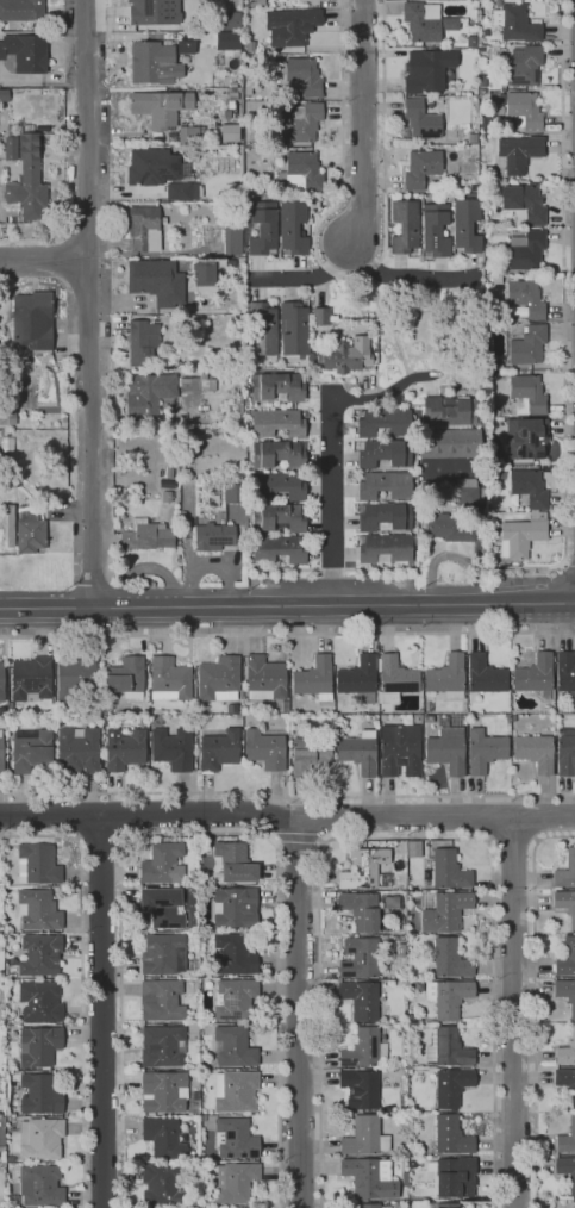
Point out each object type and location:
building: (236, 1)
building: (257, 2)
building: (21, 10)
building: (151, 12)
building: (230, 20)
building: (421, 20)
building: (448, 23)
building: (517, 23)
building: (298, 26)
building: (471, 41)
building: (186, 42)
building: (229, 42)
building: (25, 51)
building: (152, 60)
building: (204, 62)
building: (523, 66)
building: (432, 71)
building: (305, 75)
building: (482, 82)
building: (248, 87)
building: (474, 91)
building: (4, 95)
building: (232, 95)
building: (231, 105)
building: (161, 106)
building: (524, 111)
building: (227, 113)
building: (300, 119)
building: (420, 120)
building: (1, 125)
road: (361, 126)
building: (227, 132)
building: (190, 135)
building: (473, 137)
building: (183, 150)
building: (519, 151)
road: (568, 163)
building: (140, 167)
building: (421, 168)
building: (301, 172)
building: (25, 178)
building: (535, 181)
building: (181, 187)
building: (524, 203)
road: (569, 210)
building: (465, 224)
building: (405, 226)
building: (144, 228)
building: (262, 228)
building: (292, 228)
building: (433, 228)
building: (232, 238)
building: (526, 250)
road: (45, 260)
building: (229, 261)
building: (205, 273)
road: (343, 276)
road: (305, 278)
building: (155, 279)
road: (408, 279)
building: (526, 297)
road: (90, 303)
building: (320, 316)
building: (32, 320)
road: (563, 322)
building: (264, 326)
building: (295, 328)
building: (142, 341)
building: (527, 344)
building: (344, 354)
road: (569, 360)
building: (494, 367)
building: (493, 375)
building: (196, 384)
building: (279, 386)
building: (442, 388)
building: (148, 392)
building: (32, 393)
building: (481, 394)
building: (527, 394)
building: (238, 404)
road: (569, 410)
building: (449, 412)
building: (7, 417)
building: (500, 419)
building: (276, 422)
building: (382, 422)
building: (4, 432)
building: (526, 440)
building: (449, 443)
building: (5, 444)
building: (274, 453)
building: (383, 453)
building: (494, 474)
building: (167, 484)
building: (383, 484)
building: (279, 485)
building: (527, 486)
building: (233, 492)
building: (465, 493)
building: (167, 496)
road: (332, 499)
building: (187, 500)
building: (383, 515)
building: (279, 517)
building: (229, 518)
building: (182, 523)
building: (448, 527)
building: (26, 530)
building: (146, 535)
building: (213, 536)
building: (519, 537)
building: (386, 547)
building: (279, 548)
road: (568, 562)
road: (373, 568)
road: (283, 569)
road: (325, 569)
road: (562, 598)
road: (505, 600)
road: (230, 605)
road: (287, 634)
building: (565, 673)
building: (486, 674)
building: (535, 675)
building: (31, 677)
building: (123, 677)
building: (446, 677)
building: (218, 678)
building: (263, 678)
building: (314, 678)
building: (358, 678)
building: (76, 679)
building: (168, 679)
building: (395, 679)
building: (0, 680)
building: (382, 716)
building: (513, 717)
building: (429, 718)
building: (471, 718)
building: (123, 747)
building: (171, 747)
building: (76, 749)
building: (218, 749)
building: (264, 749)
building: (400, 749)
building: (446, 749)
building: (485, 749)
building: (30, 751)
building: (535, 751)
building: (565, 752)
building: (358, 753)
building: (310, 754)
building: (0, 758)
road: (287, 797)
road: (287, 817)
road: (318, 818)
road: (512, 836)
road: (404, 837)
building: (233, 860)
building: (160, 861)
building: (36, 863)
building: (363, 867)
building: (449, 870)
building: (565, 871)
building: (392, 902)
building: (162, 904)
building: (565, 904)
building: (233, 905)
building: (36, 908)
building: (361, 909)
building: (443, 909)
building: (400, 949)
building: (39, 953)
building: (162, 953)
building: (235, 953)
building: (571, 954)
building: (360, 958)
building: (450, 958)
building: (565, 992)
building: (233, 996)
building: (448, 996)
building: (361, 998)
building: (160, 1000)
building: (39, 1001)
road: (535, 1004)
road: (98, 1010)
road: (514, 1013)
road: (298, 1014)
building: (37, 1045)
building: (162, 1046)
building: (232, 1046)
building: (448, 1047)
building: (362, 1048)
building: (567, 1051)
building: (565, 1081)
building: (452, 1088)
building: (360, 1089)
building: (236, 1090)
building: (163, 1091)
building: (39, 1092)
building: (451, 1135)
building: (162, 1137)
building: (364, 1137)
building: (39, 1138)
building: (232, 1138)
building: (567, 1138)
building: (411, 1164)
building: (567, 1170)
building: (454, 1176)
building: (370, 1177)
building: (404, 1178)
building: (233, 1179)
building: (161, 1183)
building: (39, 1184)
building: (571, 1203)
building: (368, 1206)
building: (443, 1206)

